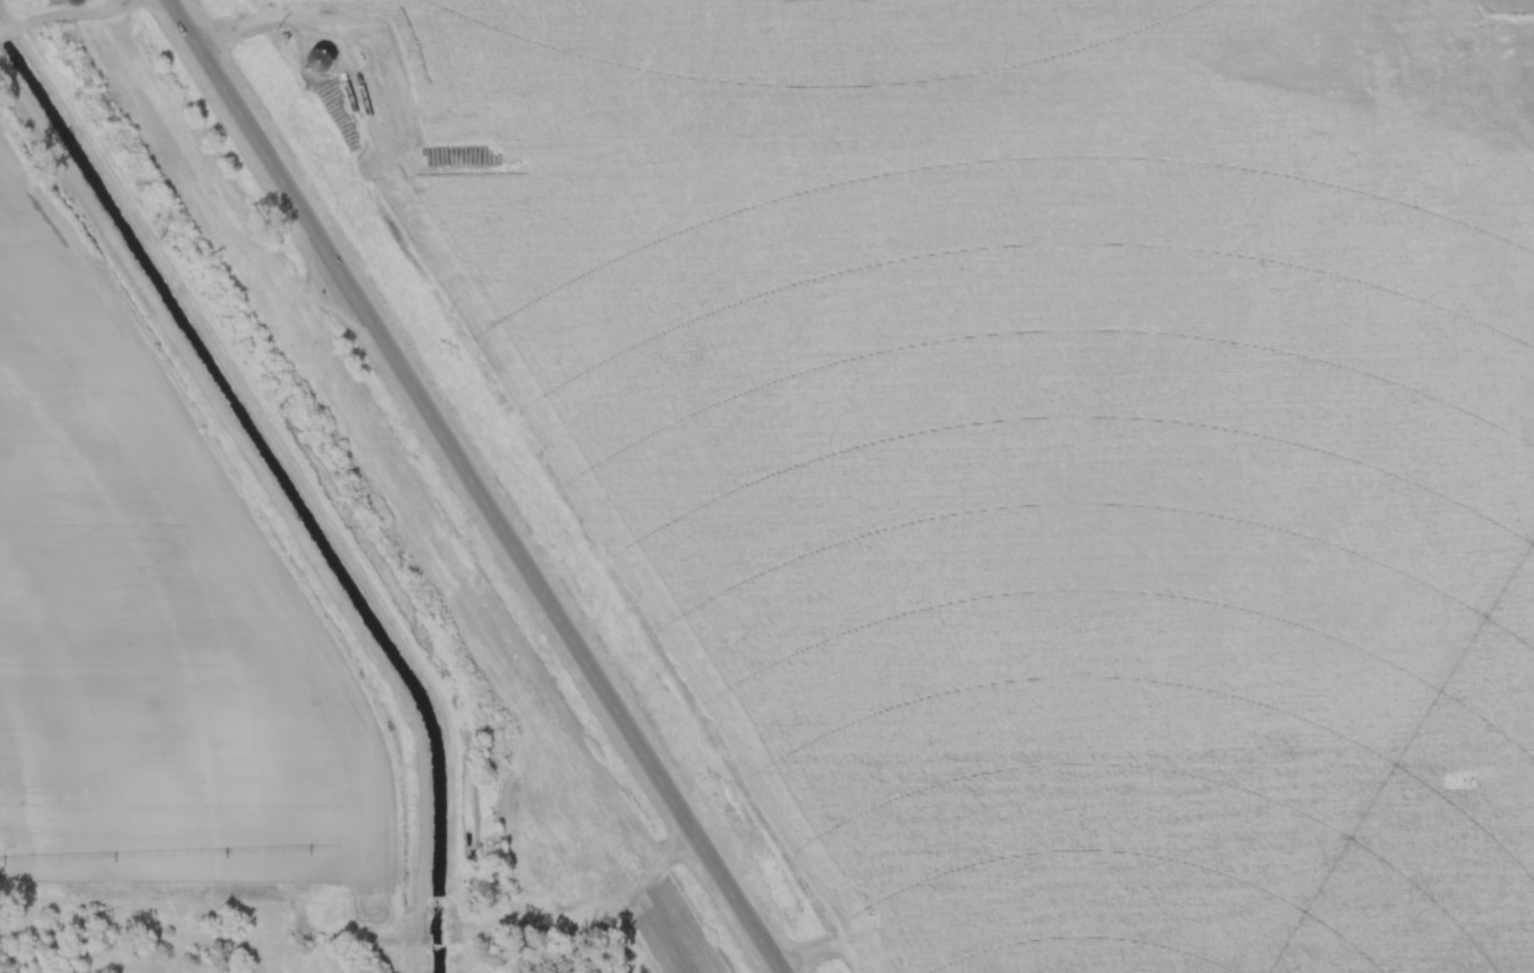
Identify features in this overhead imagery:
road: (472, 486)

